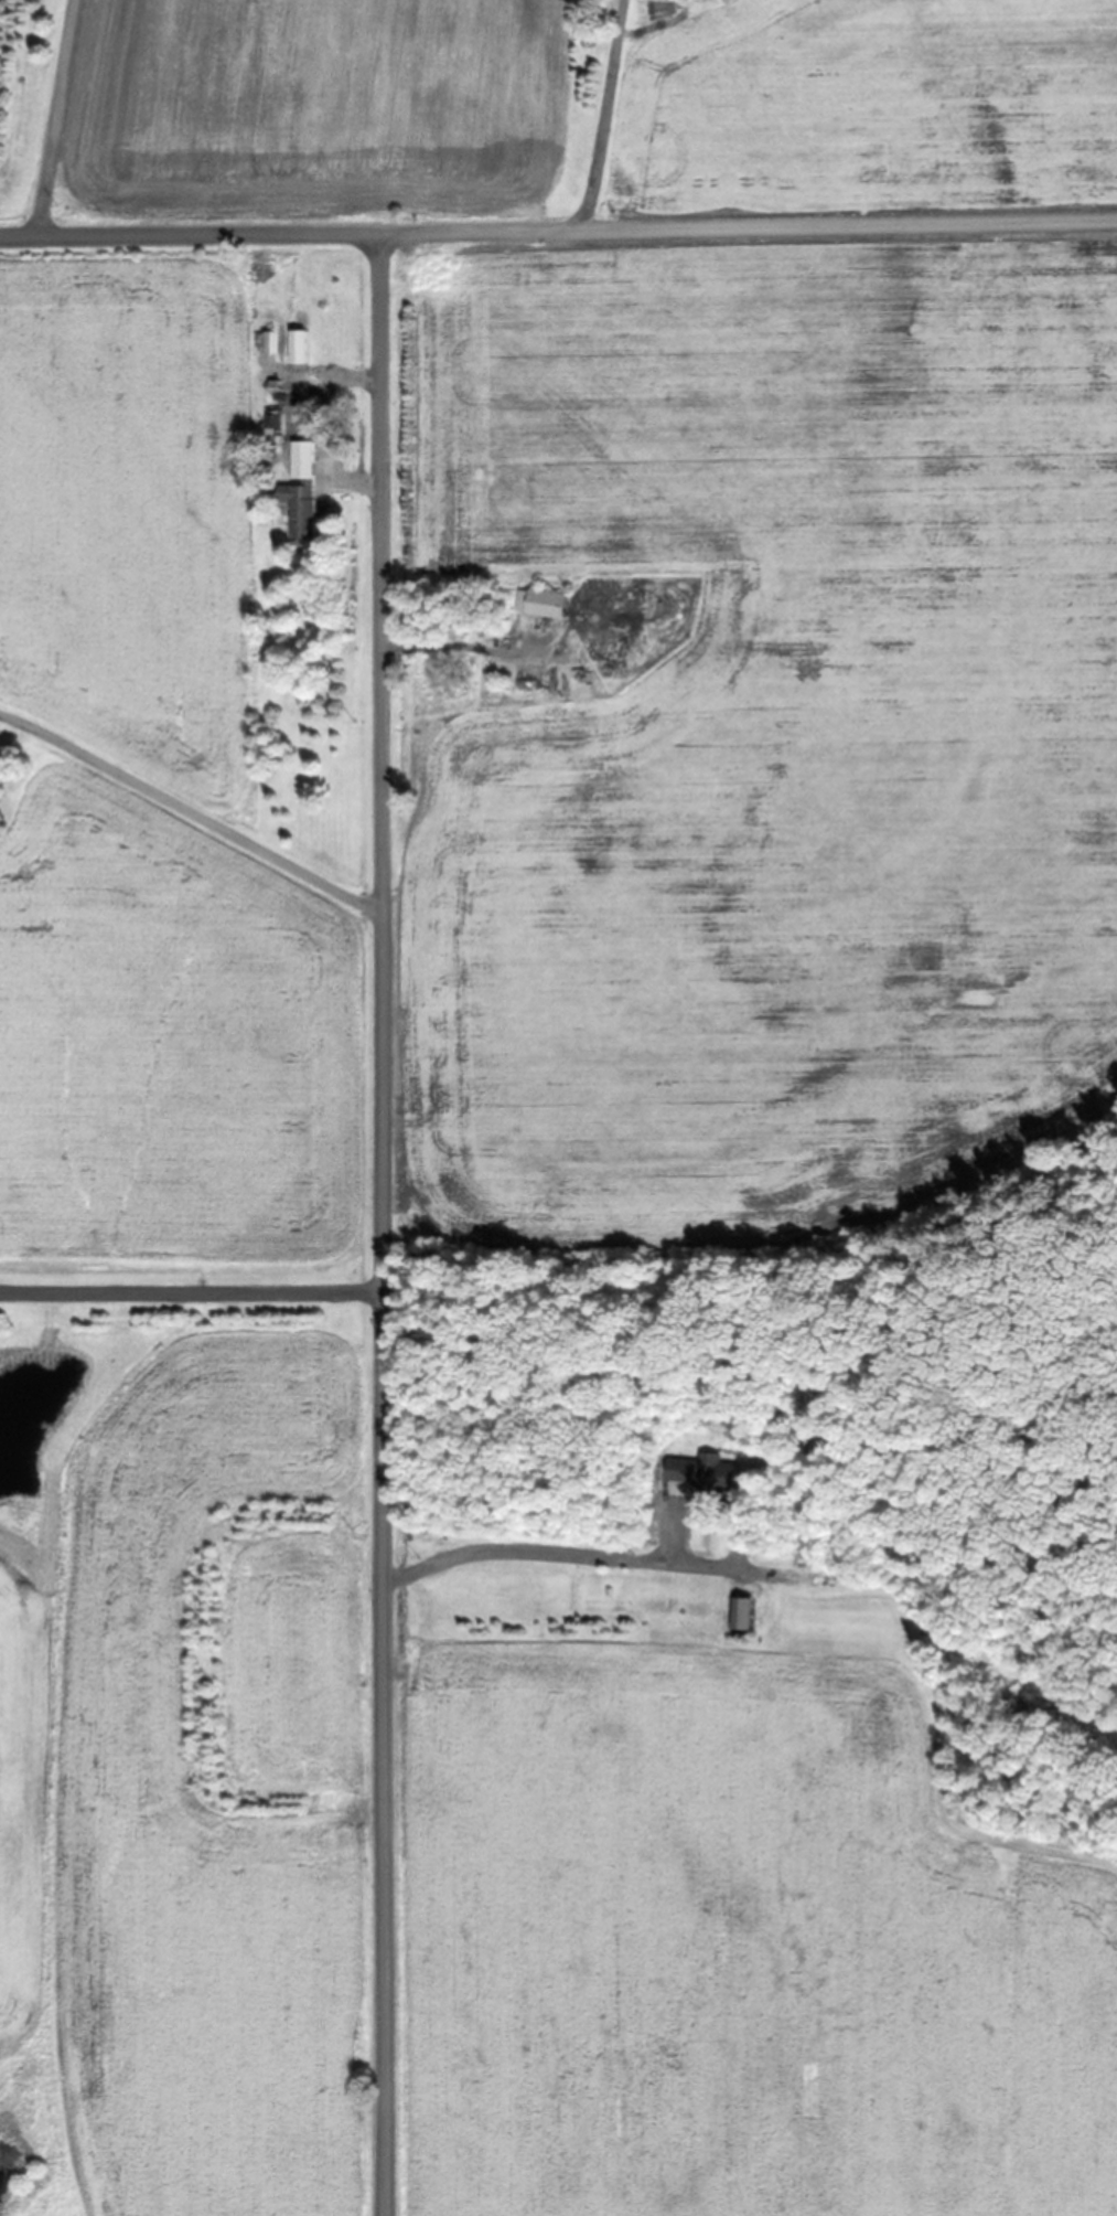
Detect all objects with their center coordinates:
road: (601, 118)
road: (752, 226)
road: (194, 235)
building: (297, 347)
building: (300, 490)
road: (200, 839)
road: (389, 1224)
building: (702, 1472)
building: (739, 1613)

